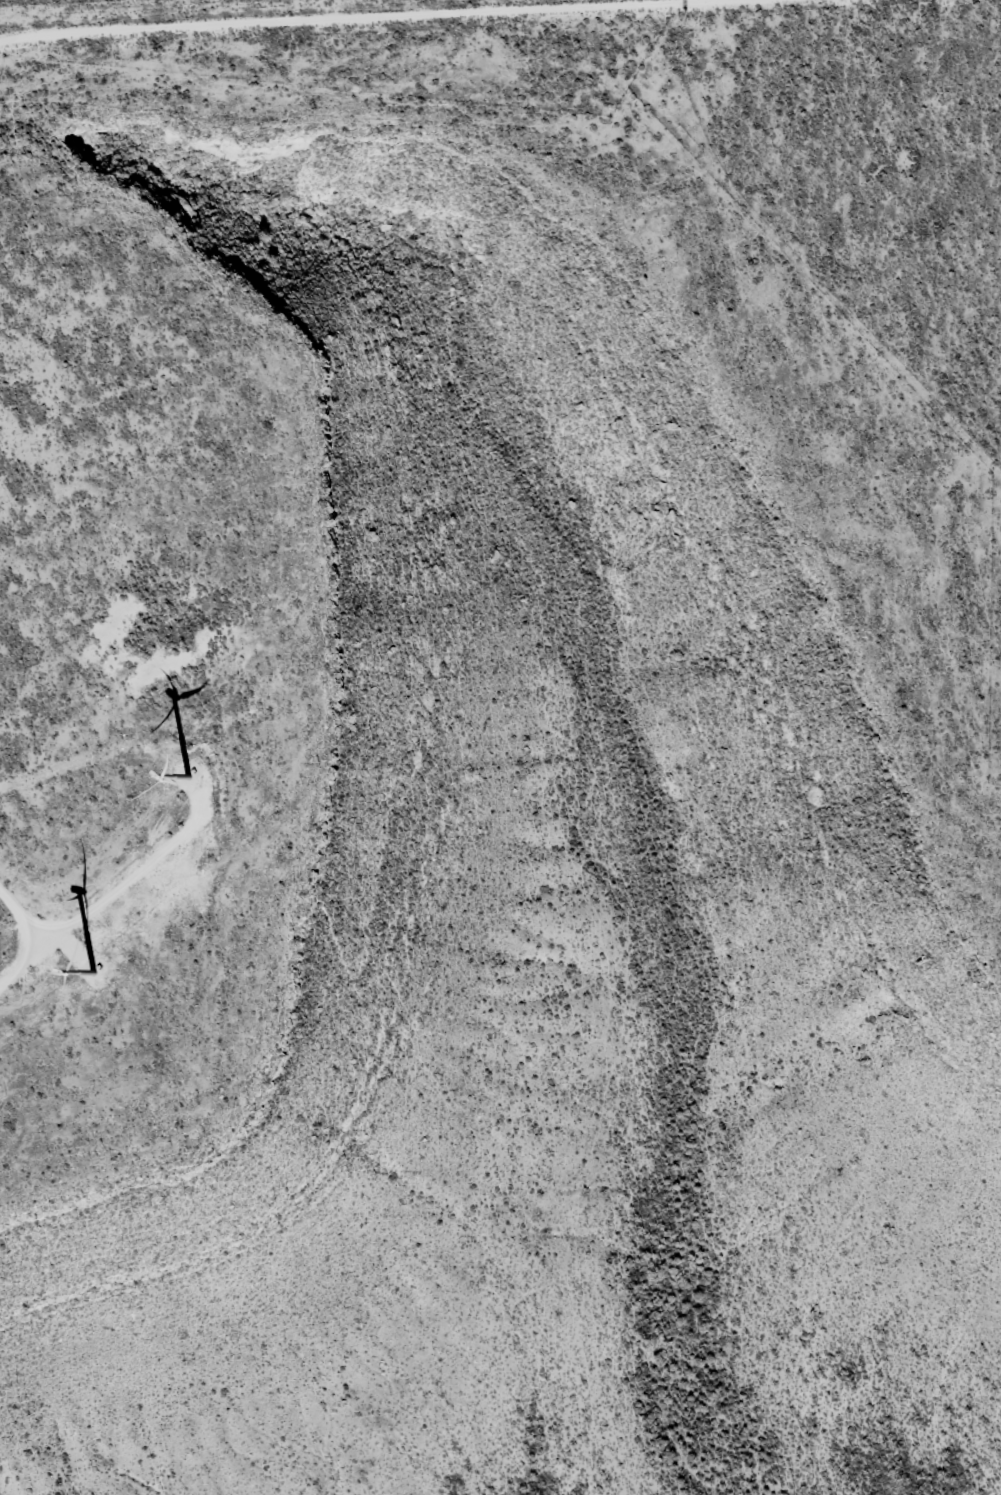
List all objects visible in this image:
wind turbine: (182, 778)
wind turbine: (93, 963)

